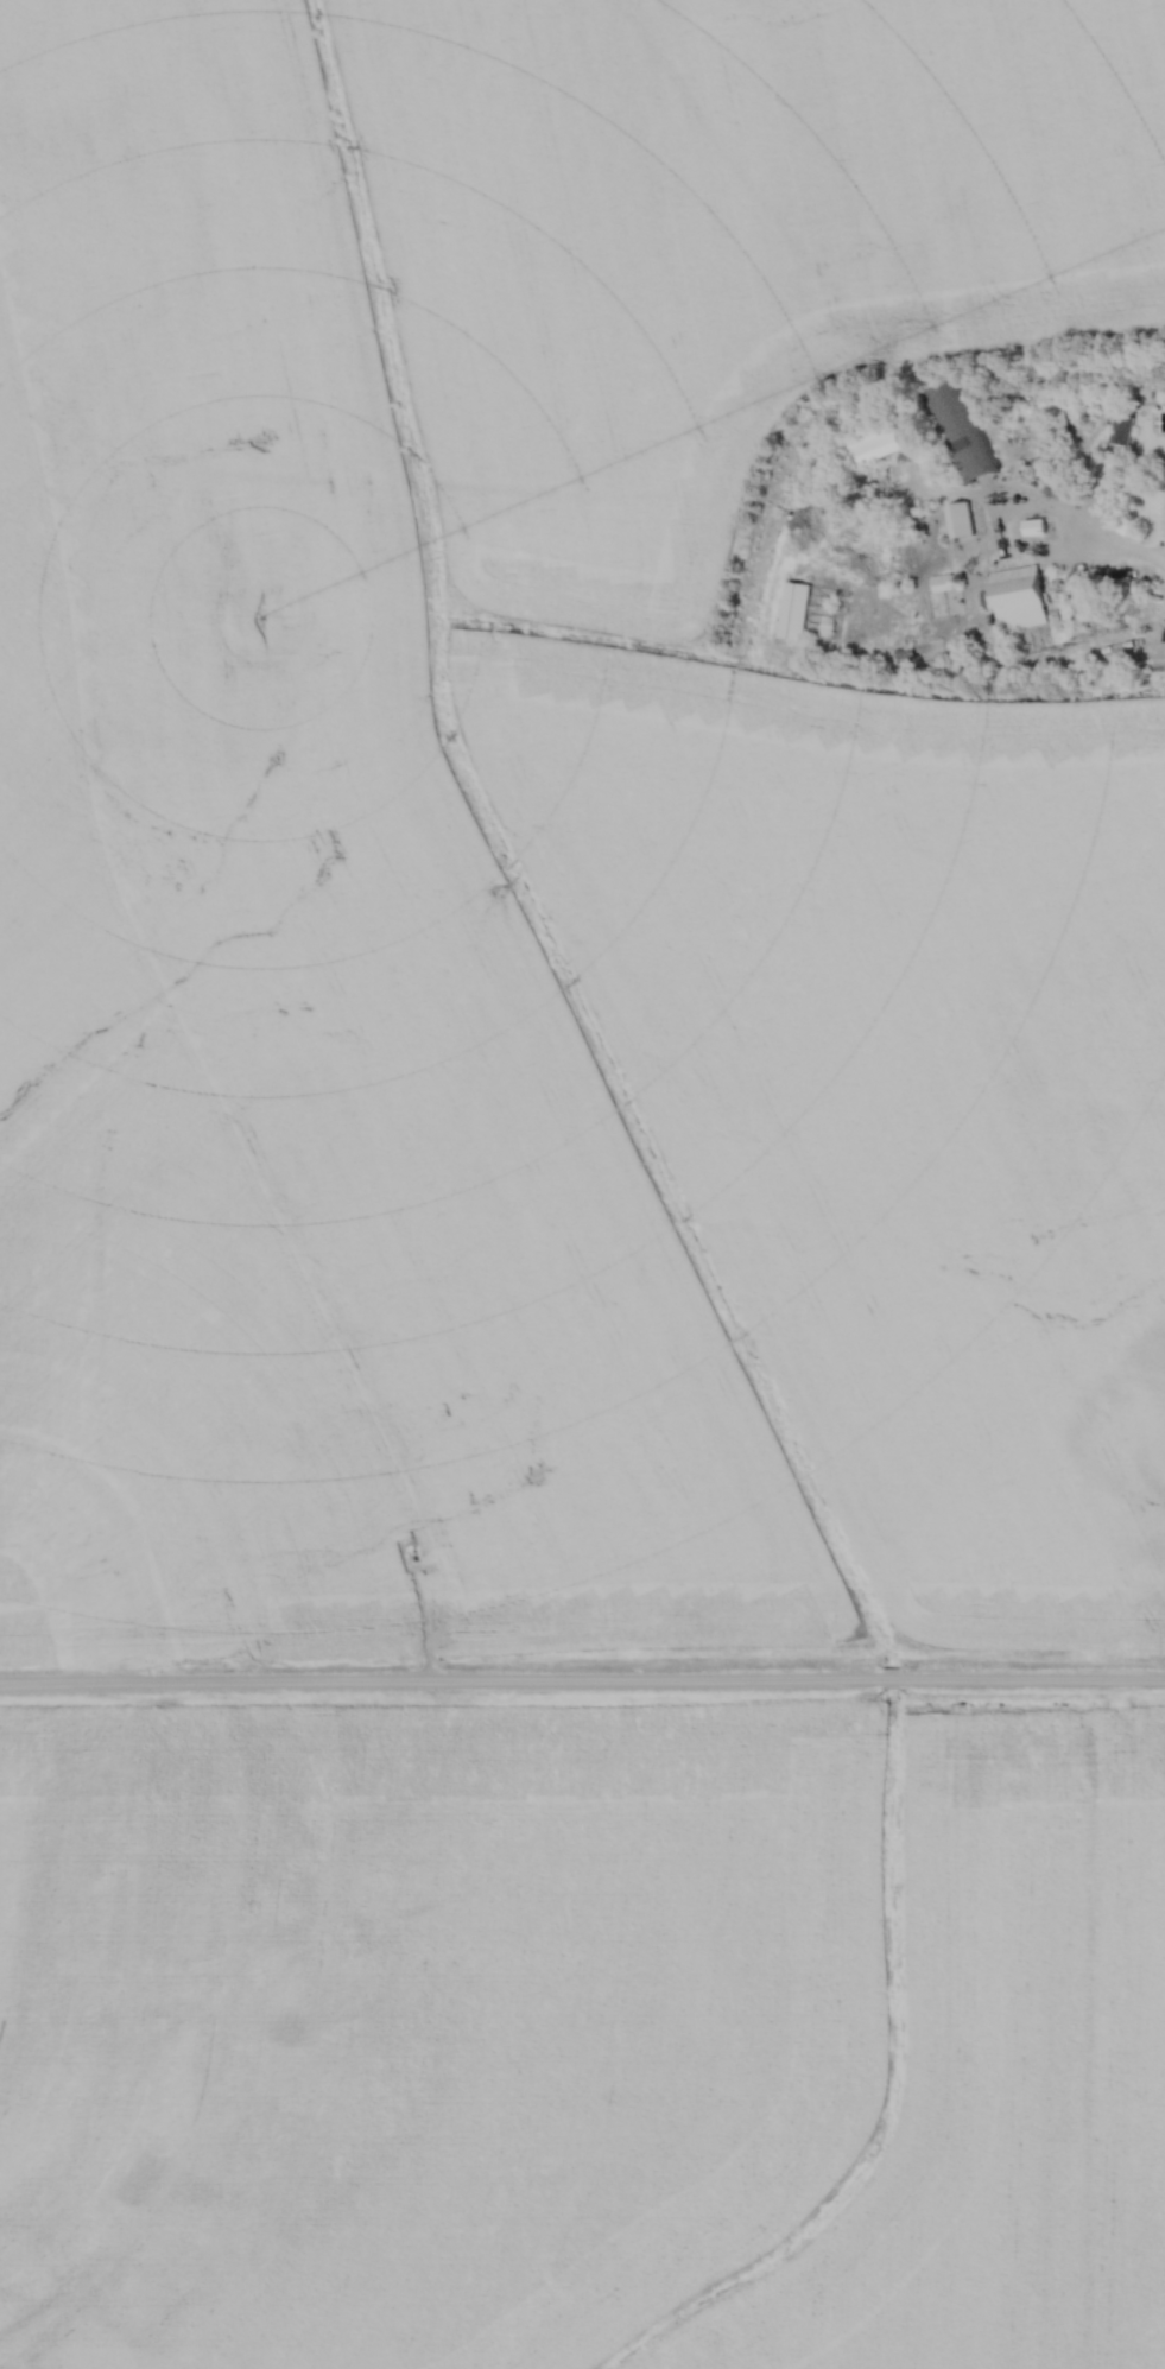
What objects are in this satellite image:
building: (1063, 423)
building: (1121, 426)
building: (960, 429)
building: (879, 443)
building: (962, 518)
building: (1037, 525)
road: (1005, 537)
road: (1115, 550)
building: (942, 579)
building: (1020, 595)
building: (797, 608)
road: (582, 1683)

